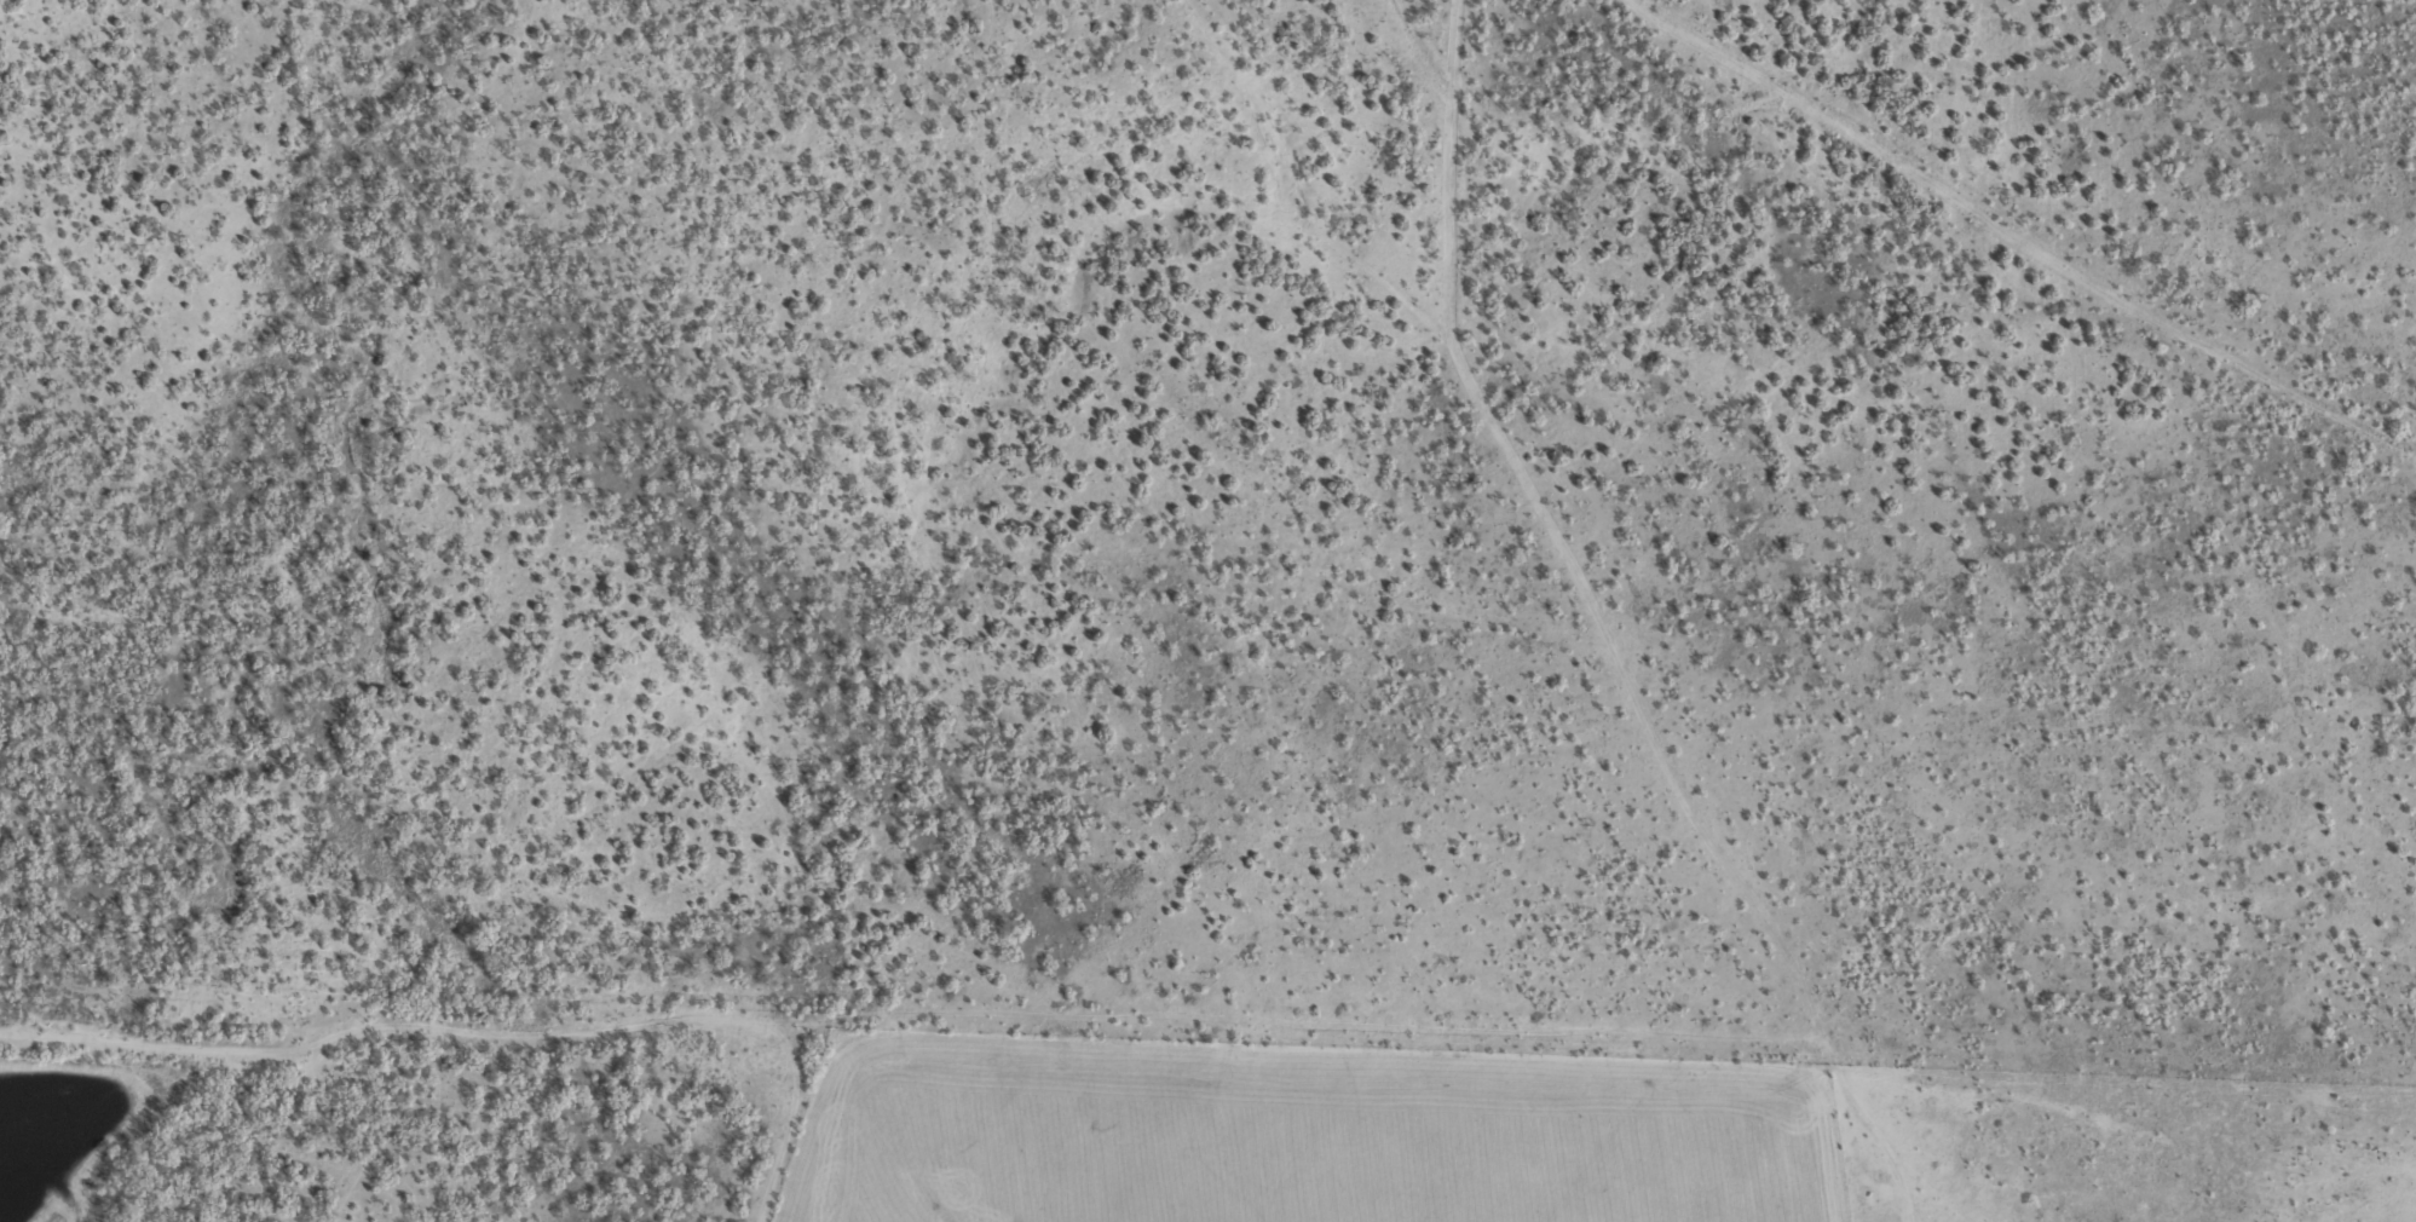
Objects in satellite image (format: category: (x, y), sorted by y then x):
road: (1293, 134)
road: (1555, 541)
road: (999, 1039)

